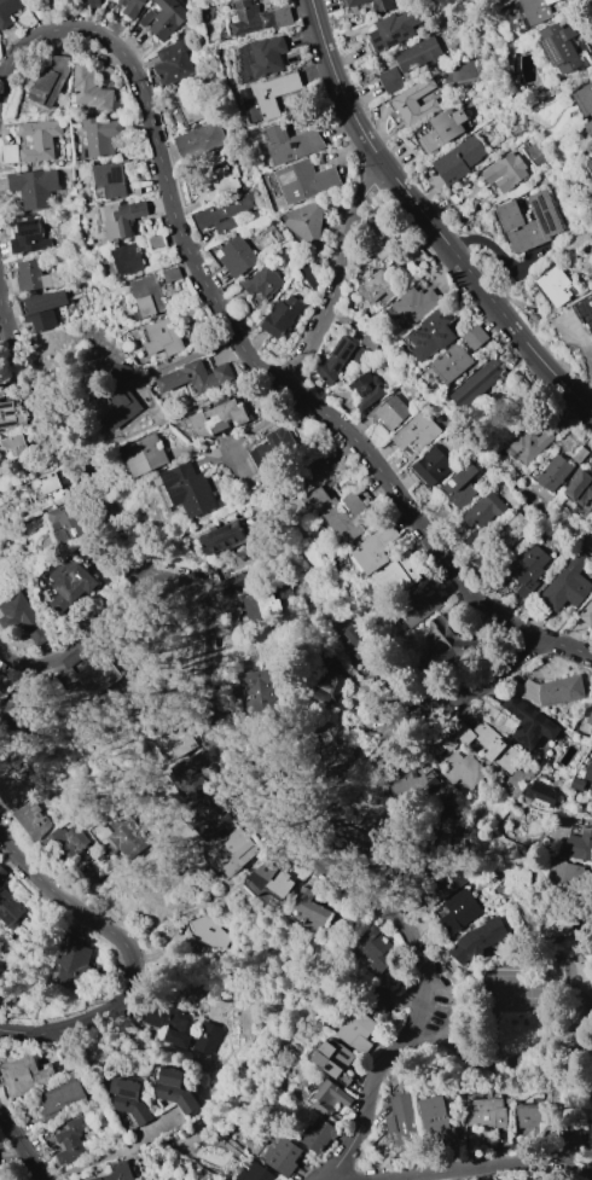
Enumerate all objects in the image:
building: (500, 0)
building: (91, 4)
building: (378, 4)
building: (132, 6)
building: (538, 10)
building: (8, 11)
building: (164, 18)
building: (257, 18)
building: (399, 25)
building: (561, 47)
building: (591, 56)
building: (261, 58)
building: (175, 62)
building: (413, 62)
building: (51, 81)
building: (89, 91)
building: (269, 95)
building: (584, 99)
building: (416, 103)
building: (188, 105)
building: (588, 127)
building: (443, 129)
building: (100, 135)
building: (40, 139)
building: (201, 141)
building: (291, 144)
building: (11, 153)
building: (463, 158)
building: (542, 158)
building: (590, 164)
building: (509, 168)
building: (222, 176)
building: (110, 179)
building: (304, 180)
building: (35, 186)
building: (226, 213)
building: (122, 217)
road: (429, 217)
building: (306, 221)
building: (529, 222)
building: (29, 237)
building: (157, 243)
building: (383, 244)
building: (237, 256)
building: (127, 258)
building: (172, 274)
building: (36, 275)
building: (310, 277)
road: (339, 277)
building: (263, 281)
building: (377, 286)
building: (556, 286)
building: (149, 296)
building: (416, 306)
building: (42, 308)
building: (584, 308)
building: (283, 315)
building: (431, 336)
building: (476, 337)
building: (163, 338)
road: (240, 339)
building: (371, 342)
building: (342, 356)
building: (451, 364)
building: (196, 377)
building: (480, 383)
building: (120, 390)
building: (366, 390)
building: (391, 411)
building: (11, 414)
road: (178, 415)
building: (219, 418)
road: (256, 424)
building: (416, 435)
road: (57, 443)
building: (17, 444)
building: (530, 444)
building: (271, 446)
building: (146, 455)
building: (580, 455)
building: (327, 461)
building: (431, 467)
building: (555, 473)
road: (25, 475)
building: (512, 475)
building: (462, 486)
building: (42, 488)
building: (581, 489)
building: (193, 490)
building: (483, 510)
building: (339, 513)
building: (65, 515)
building: (513, 530)
building: (471, 537)
building: (224, 539)
building: (375, 548)
building: (529, 569)
road: (550, 572)
building: (400, 575)
building: (234, 581)
building: (72, 583)
building: (568, 583)
building: (268, 604)
building: (422, 606)
building: (587, 614)
building: (25, 618)
building: (455, 640)
building: (365, 651)
building: (101, 674)
building: (319, 680)
building: (5, 684)
building: (23, 686)
road: (468, 688)
building: (555, 690)
building: (260, 693)
building: (591, 693)
building: (16, 714)
building: (590, 719)
building: (530, 722)
building: (464, 733)
building: (179, 736)
building: (488, 740)
building: (333, 742)
building: (445, 743)
building: (187, 768)
building: (464, 768)
building: (588, 772)
building: (413, 779)
building: (13, 783)
building: (578, 783)
building: (545, 800)
road: (250, 804)
building: (210, 819)
building: (442, 830)
building: (51, 832)
building: (128, 835)
building: (366, 839)
building: (462, 845)
building: (579, 845)
building: (234, 853)
building: (101, 867)
building: (564, 873)
building: (278, 879)
building: (442, 884)
building: (10, 905)
building: (312, 906)
building: (457, 911)
building: (562, 924)
building: (211, 934)
building: (478, 941)
building: (366, 942)
road: (129, 953)
building: (70, 963)
road: (563, 973)
building: (0, 993)
park: (516, 994)
building: (390, 1016)
park: (526, 1017)
road: (447, 1022)
parking lot: (435, 1023)
building: (184, 1027)
building: (355, 1028)
road: (463, 1059)
building: (336, 1060)
road: (506, 1068)
road: (561, 1074)
building: (27, 1076)
building: (174, 1089)
building: (58, 1097)
building: (330, 1098)
building: (129, 1099)
building: (435, 1114)
building: (486, 1114)
building: (532, 1117)
building: (402, 1120)
building: (591, 1133)
building: (320, 1135)
building: (69, 1141)
road: (22, 1146)
building: (284, 1156)
road: (480, 1168)
building: (117, 1172)
building: (256, 1173)
building: (0, 1178)

